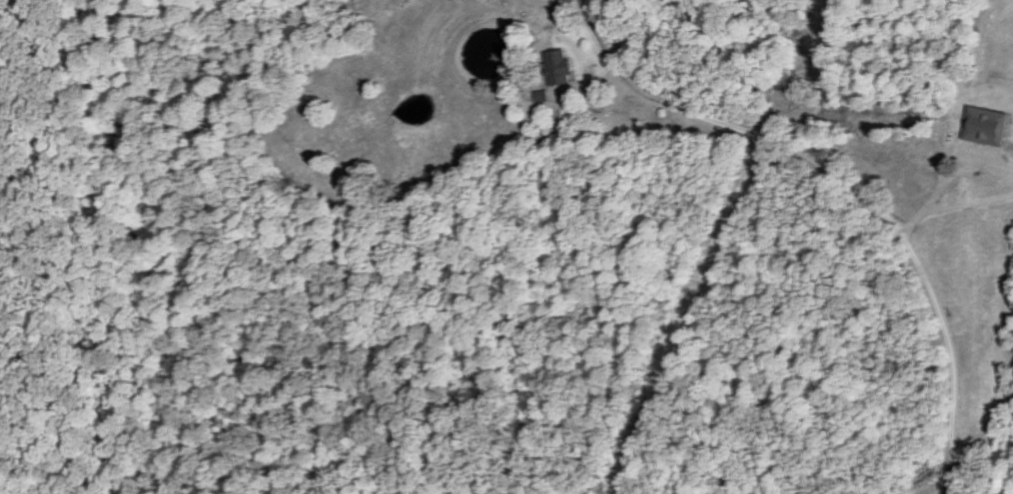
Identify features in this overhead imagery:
building: (562, 67)
road: (791, 70)
road: (685, 115)
building: (990, 126)
road: (929, 281)

